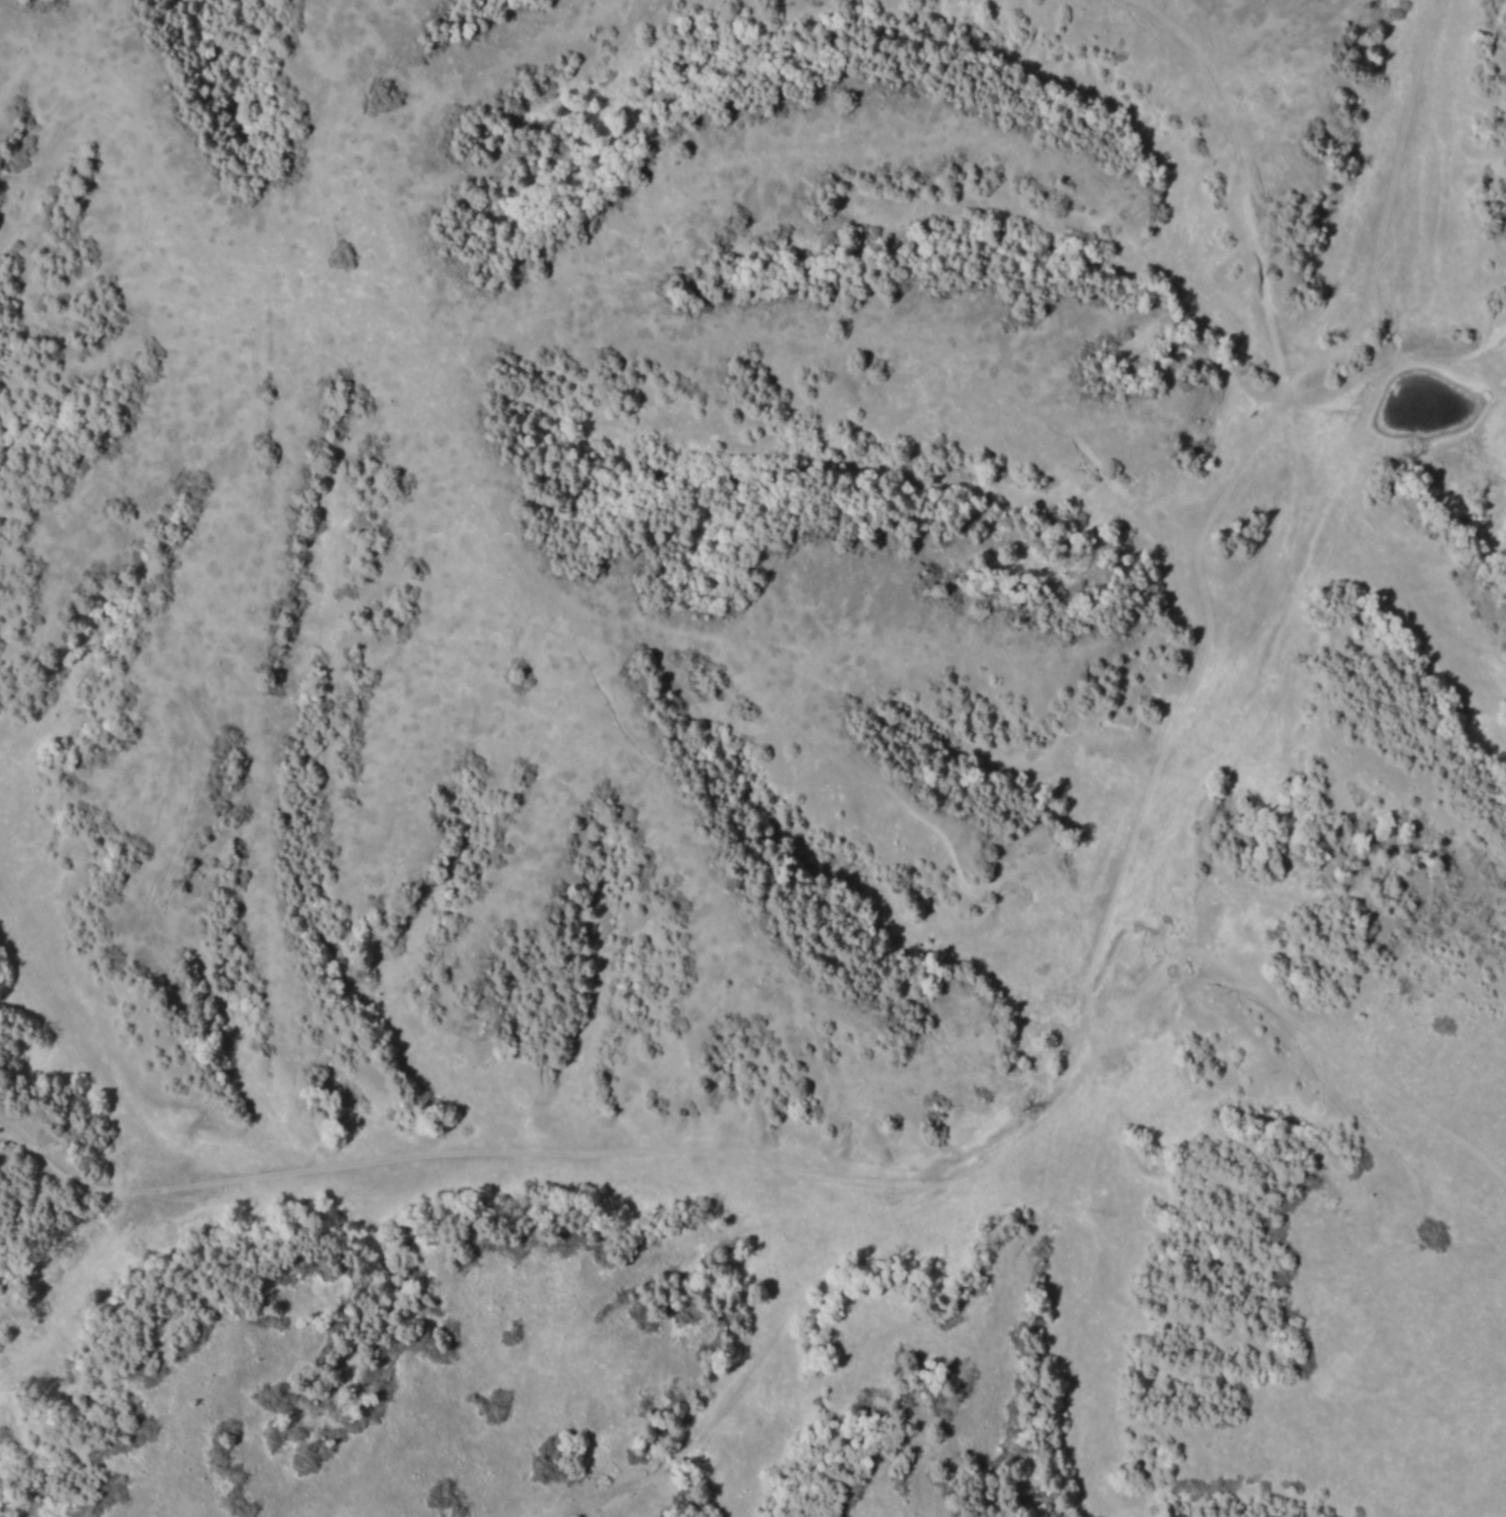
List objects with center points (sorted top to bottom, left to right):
road: (1375, 1075)

